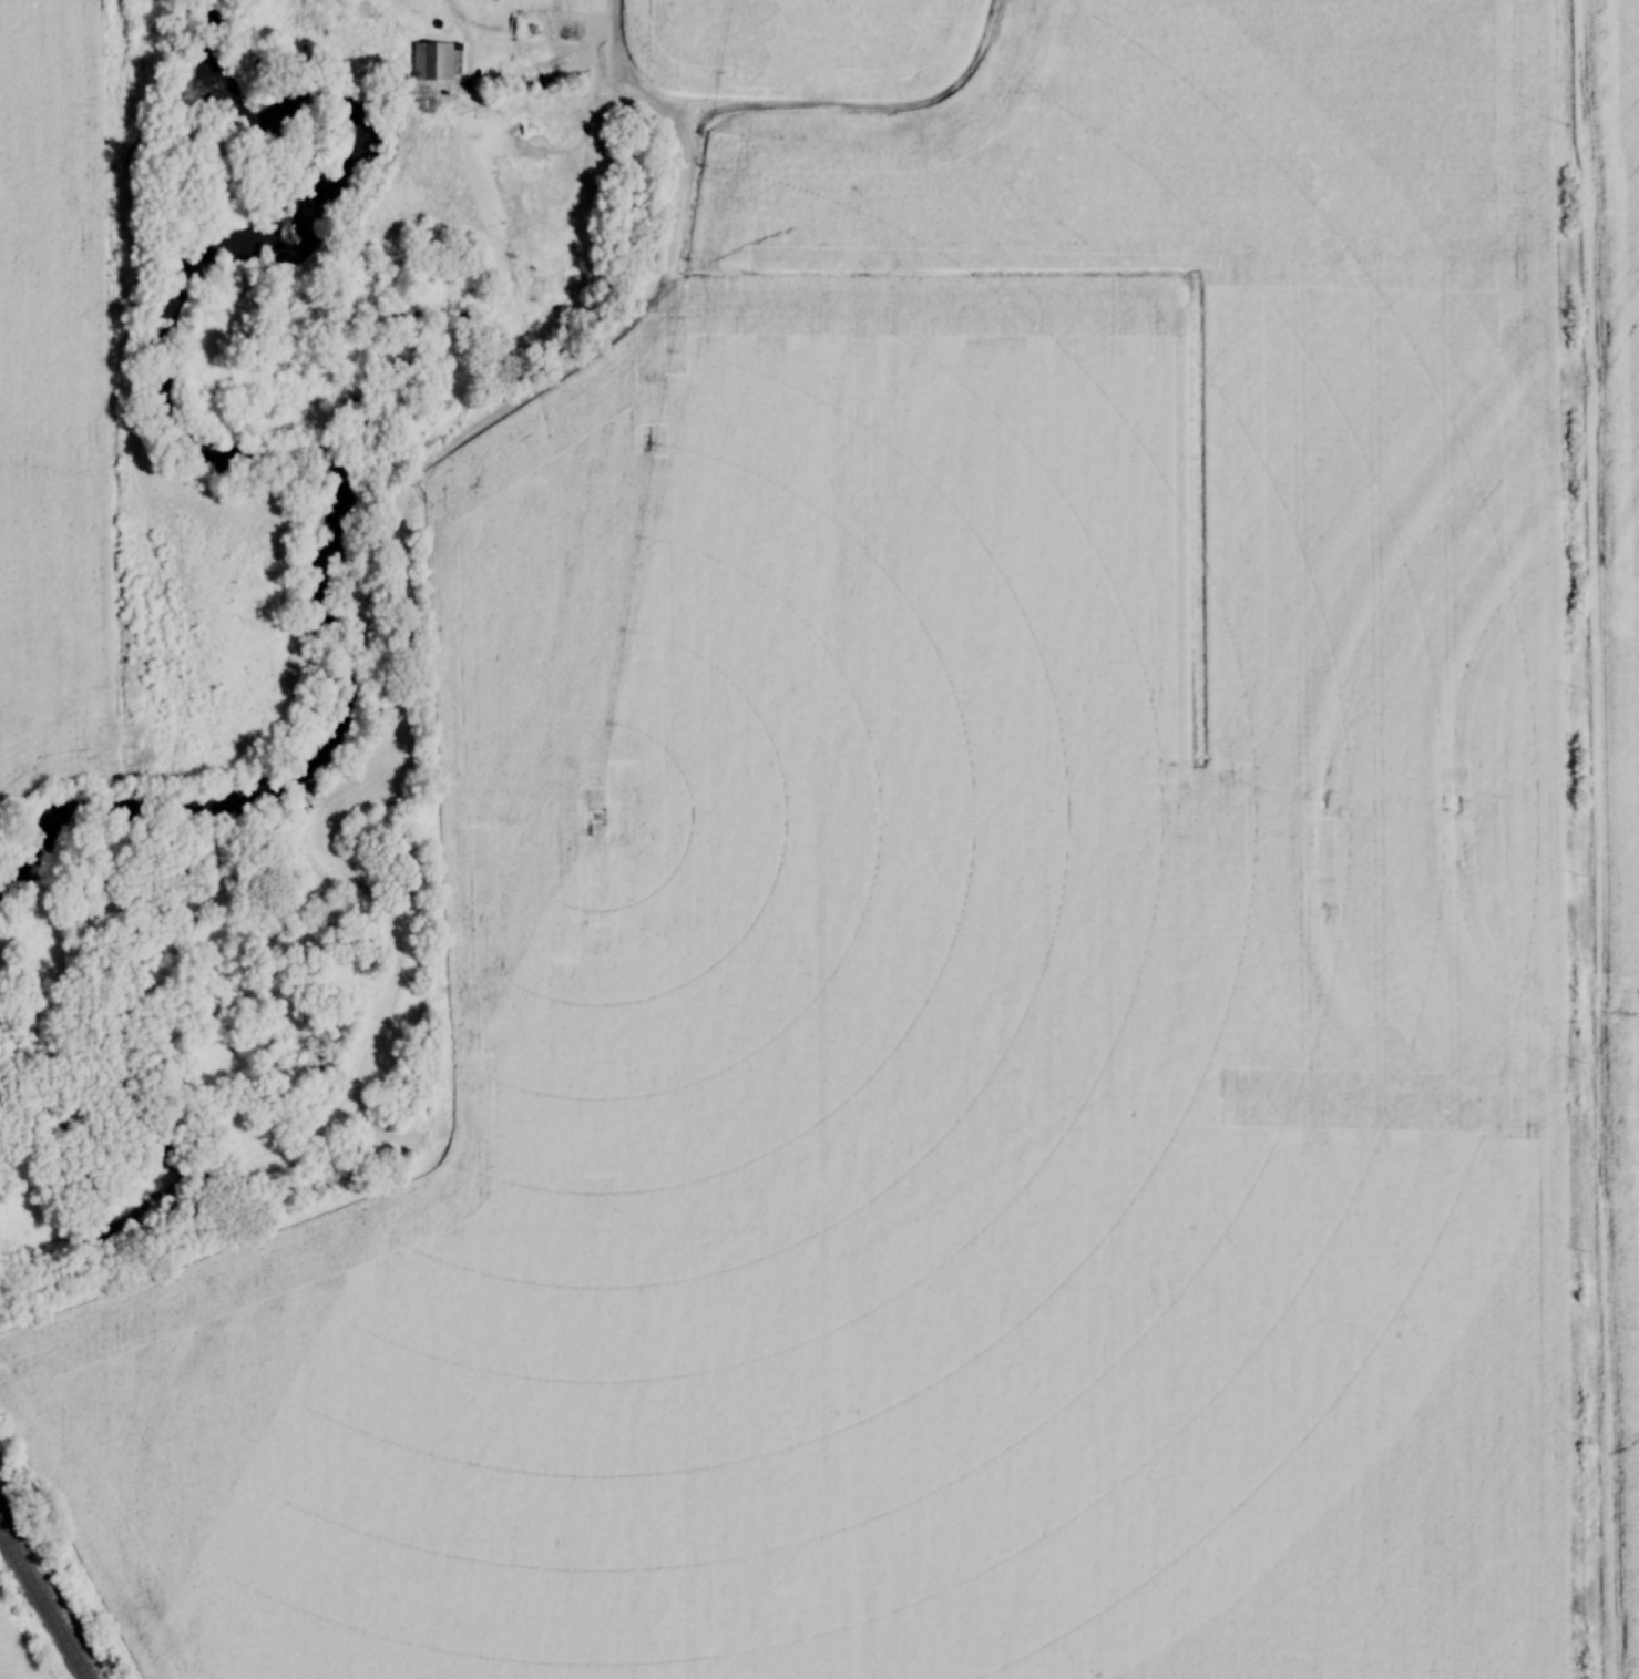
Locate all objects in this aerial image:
road: (449, 10)
building: (429, 60)
river: (263, 465)
railway: (47, 1597)

